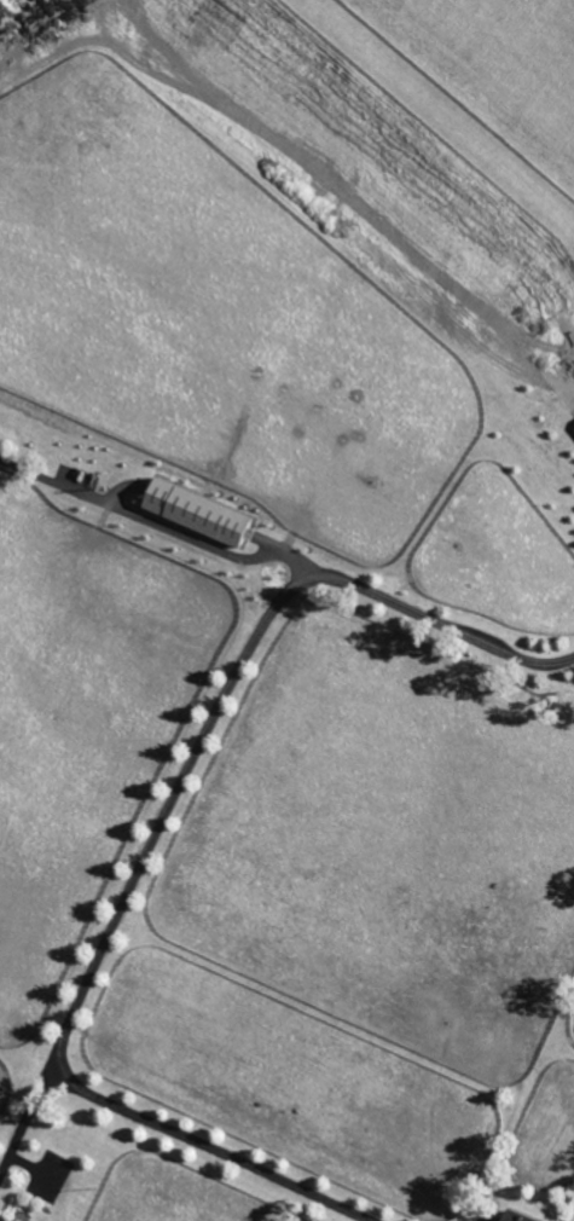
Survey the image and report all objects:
road: (572, 394)
road: (155, 526)
road: (228, 689)
road: (158, 1124)
building: (515, 1217)
building: (10, 1219)

